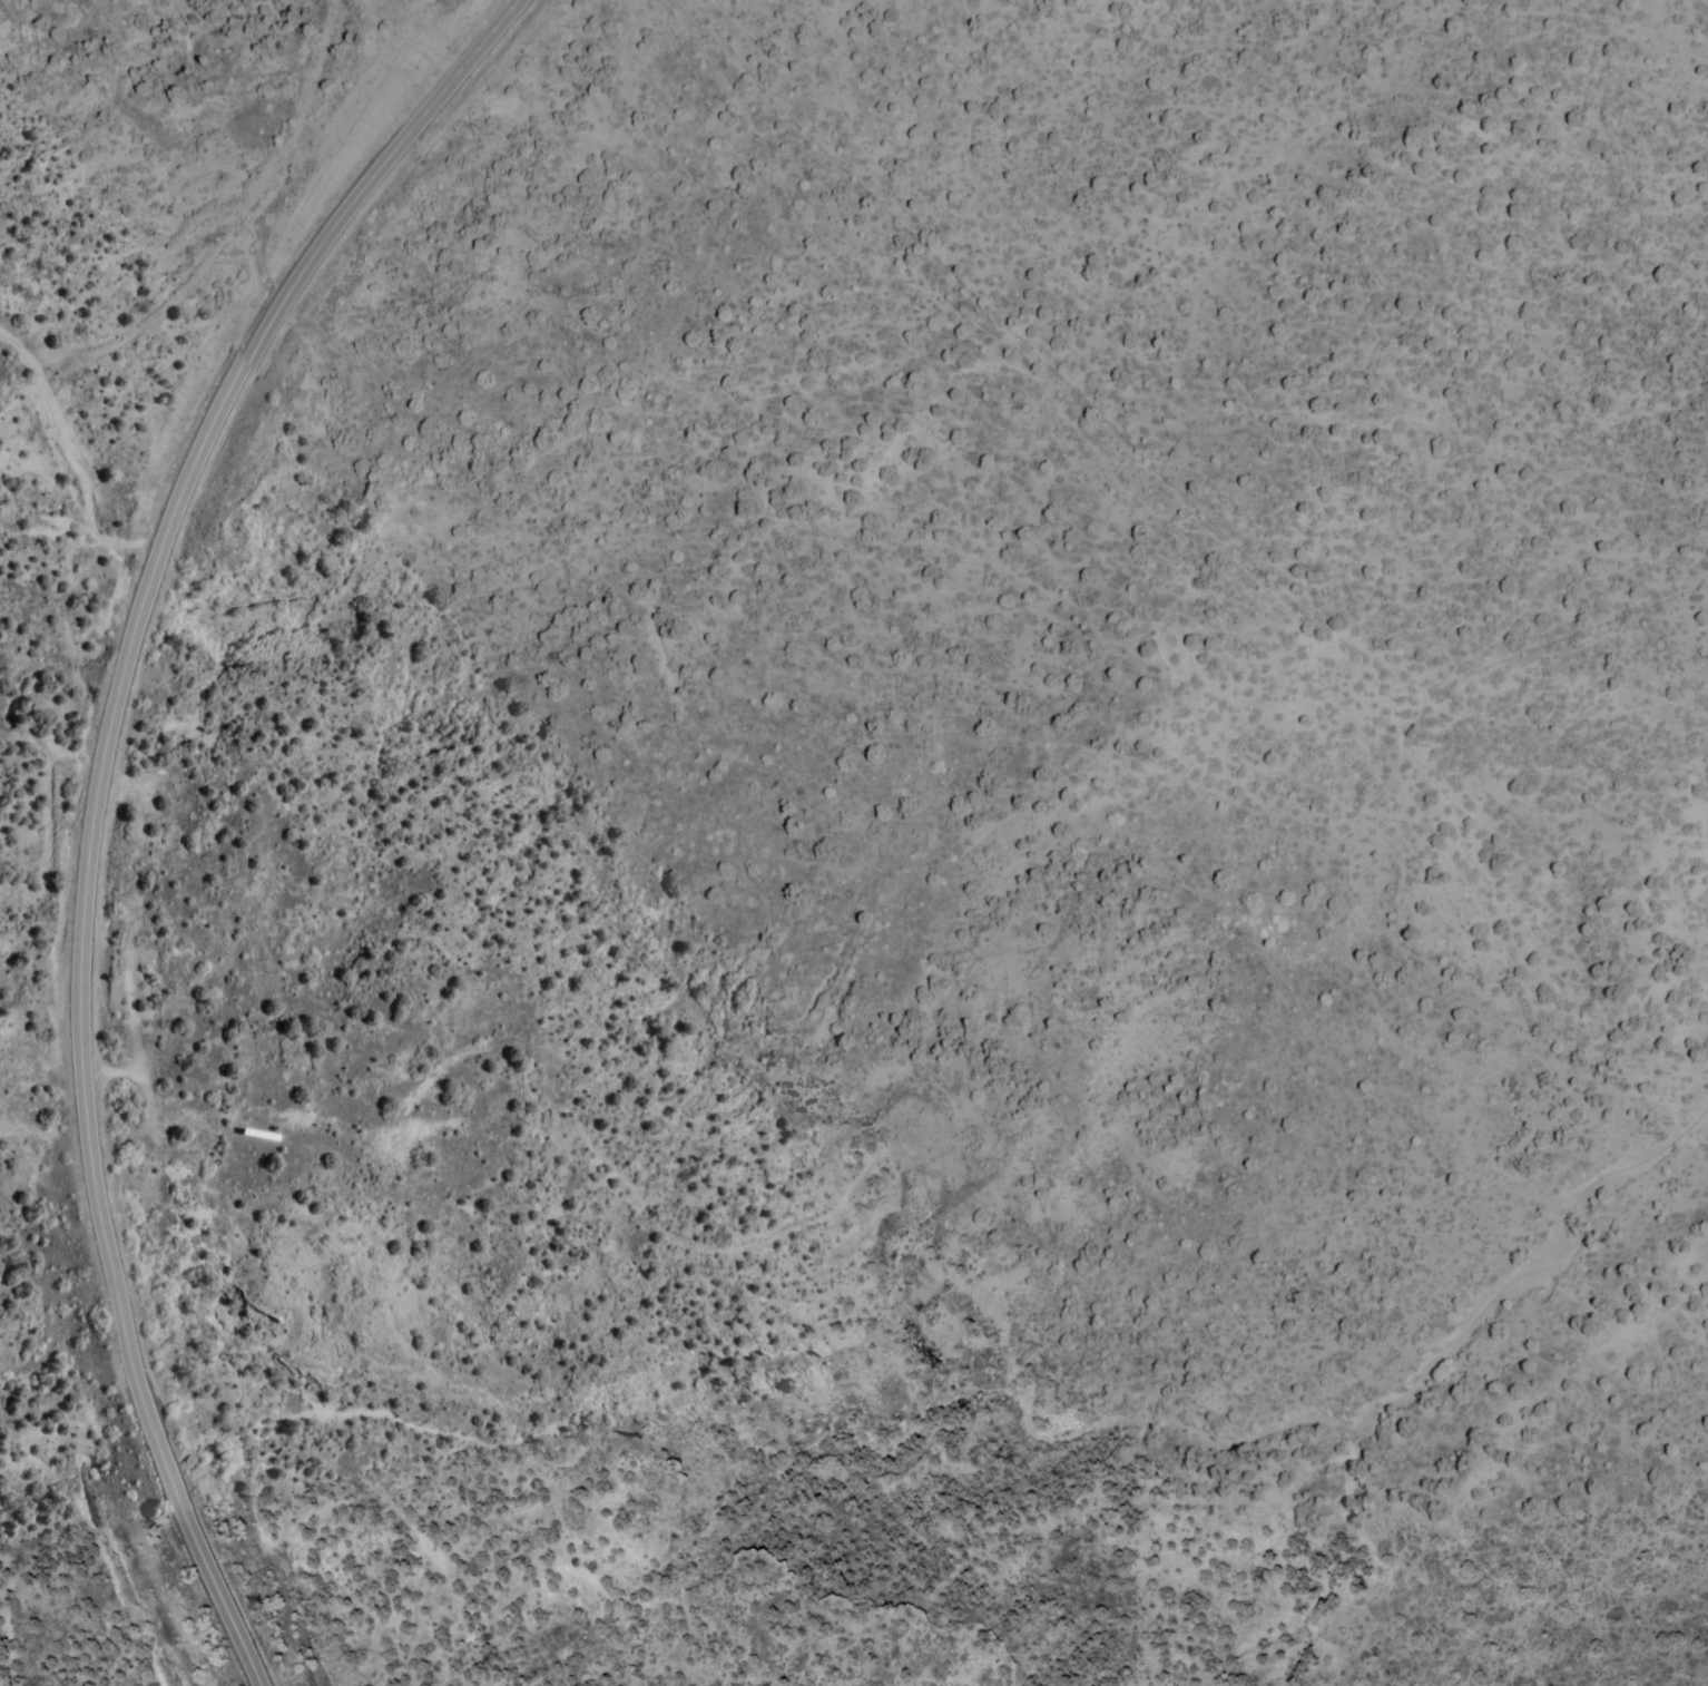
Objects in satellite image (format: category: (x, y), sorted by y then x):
road: (220, 245)
road: (99, 800)

